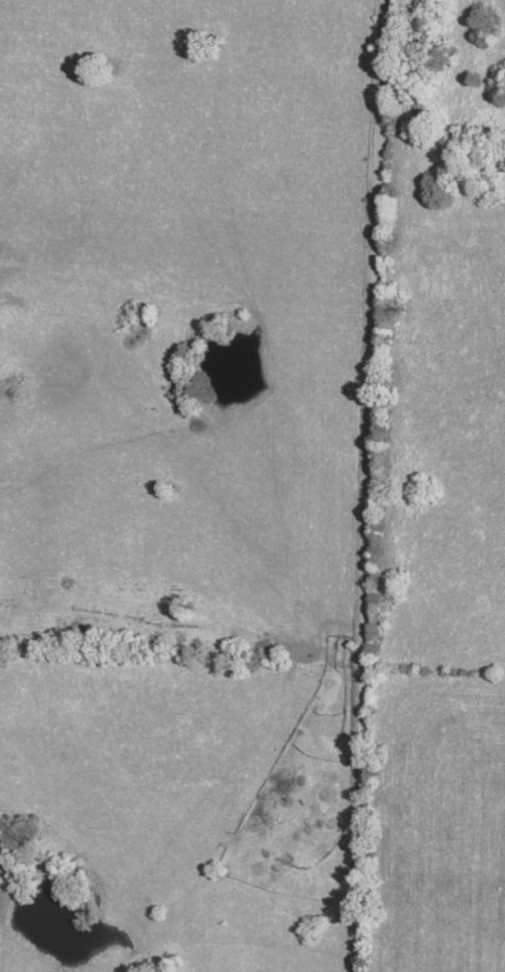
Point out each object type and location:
road: (368, 485)

